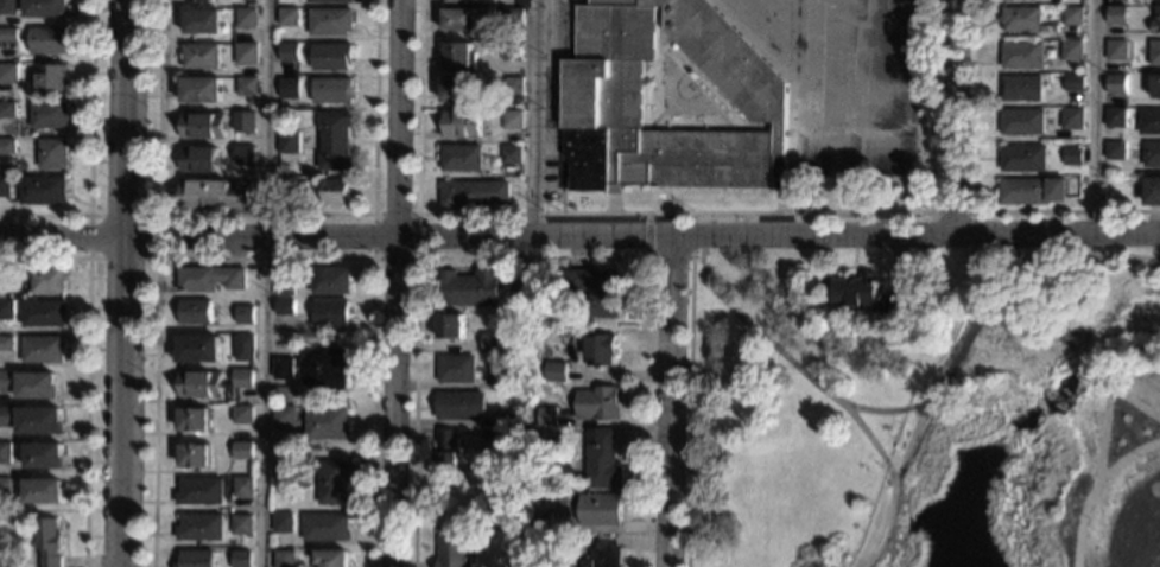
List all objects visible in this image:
building: (197, 0)
building: (329, 0)
building: (465, 1)
building: (252, 4)
building: (8, 7)
building: (46, 7)
building: (1116, 14)
building: (1072, 15)
building: (287, 17)
building: (512, 17)
building: (245, 18)
building: (1021, 19)
building: (458, 20)
building: (1155, 20)
building: (202, 21)
building: (330, 21)
building: (8, 34)
building: (46, 40)
building: (1071, 50)
building: (1116, 50)
building: (512, 51)
building: (287, 52)
building: (1154, 52)
building: (246, 55)
building: (1021, 55)
building: (199, 56)
building: (331, 56)
building: (458, 56)
building: (8, 74)
building: (50, 77)
building: (1072, 82)
building: (1115, 84)
building: (513, 85)
building: (246, 87)
building: (1155, 87)
building: (289, 88)
building: (199, 89)
building: (1020, 89)
building: (332, 90)
building: (454, 90)
parking lot: (553, 90)
building: (601, 103)
building: (7, 109)
building: (47, 114)
road: (952, 116)
road: (1092, 117)
building: (1114, 117)
road: (535, 119)
building: (1071, 119)
building: (512, 120)
building: (1021, 121)
building: (1149, 121)
building: (245, 122)
building: (462, 125)
building: (202, 126)
building: (334, 141)
building: (287, 142)
building: (7, 147)
road: (88, 151)
building: (1114, 151)
building: (51, 153)
building: (1151, 154)
building: (243, 155)
building: (512, 155)
building: (1071, 155)
building: (461, 158)
building: (1021, 158)
building: (197, 159)
building: (511, 171)
road: (831, 176)
building: (1127, 180)
building: (5, 186)
building: (284, 189)
building: (42, 190)
building: (336, 191)
building: (1031, 191)
building: (1152, 191)
building: (473, 193)
building: (214, 196)
road: (975, 197)
road: (779, 200)
road: (562, 202)
road: (611, 203)
road: (970, 211)
road: (670, 212)
road: (265, 214)
road: (416, 214)
road: (646, 235)
road: (579, 237)
road: (154, 256)
road: (668, 257)
road: (264, 259)
building: (208, 279)
building: (47, 280)
building: (330, 280)
road: (125, 282)
road: (393, 282)
road: (266, 283)
building: (284, 286)
building: (2, 287)
building: (471, 287)
building: (595, 289)
building: (520, 294)
building: (867, 294)
road: (416, 295)
building: (284, 306)
building: (6, 310)
building: (194, 311)
building: (43, 313)
building: (331, 313)
building: (243, 314)
building: (452, 325)
road: (1035, 327)
building: (493, 342)
building: (6, 344)
building: (243, 348)
building: (196, 349)
building: (600, 349)
building: (43, 350)
road: (85, 368)
building: (457, 368)
road: (1094, 368)
building: (283, 369)
building: (324, 369)
building: (556, 370)
building: (242, 378)
building: (500, 380)
building: (6, 382)
building: (198, 384)
building: (37, 386)
road: (1132, 400)
road: (676, 402)
building: (597, 403)
building: (461, 404)
building: (520, 408)
road: (861, 409)
building: (6, 412)
road: (689, 412)
building: (241, 414)
building: (283, 416)
building: (545, 416)
building: (191, 420)
building: (39, 421)
park: (930, 422)
building: (325, 423)
building: (493, 439)
building: (240, 451)
road: (1127, 452)
building: (5, 453)
building: (44, 455)
building: (191, 455)
building: (446, 458)
building: (601, 459)
road: (1099, 478)
building: (332, 482)
road: (892, 483)
building: (241, 486)
building: (5, 490)
building: (43, 491)
building: (197, 491)
building: (601, 509)
building: (280, 522)
building: (540, 523)
building: (239, 524)
building: (197, 527)
building: (324, 527)
road: (890, 528)
building: (47, 541)
building: (454, 548)
building: (602, 554)
building: (330, 558)
building: (194, 559)
building: (239, 559)
building: (281, 559)

